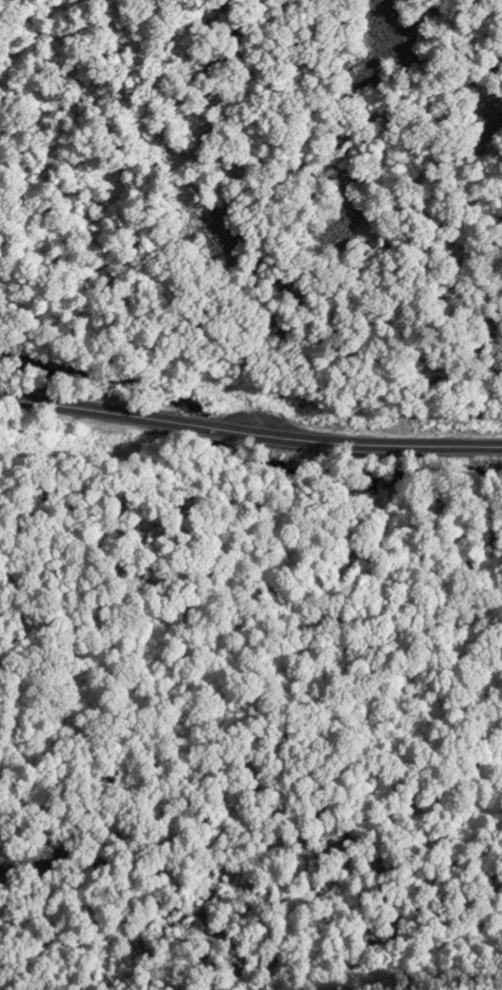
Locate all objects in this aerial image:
road: (250, 441)

